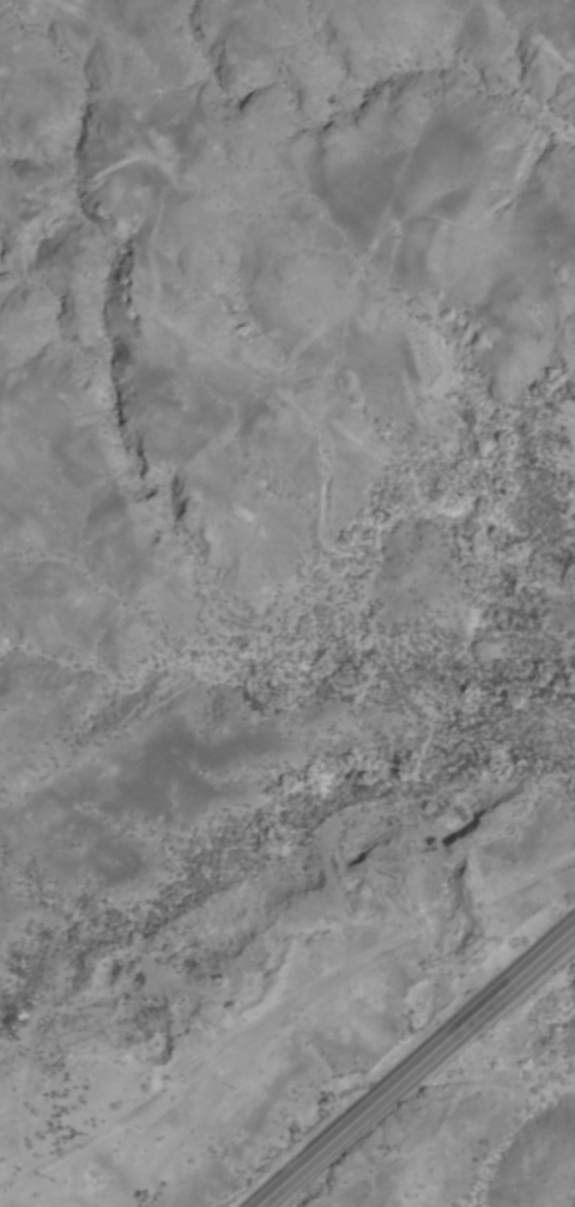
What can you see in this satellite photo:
road: (419, 1068)

